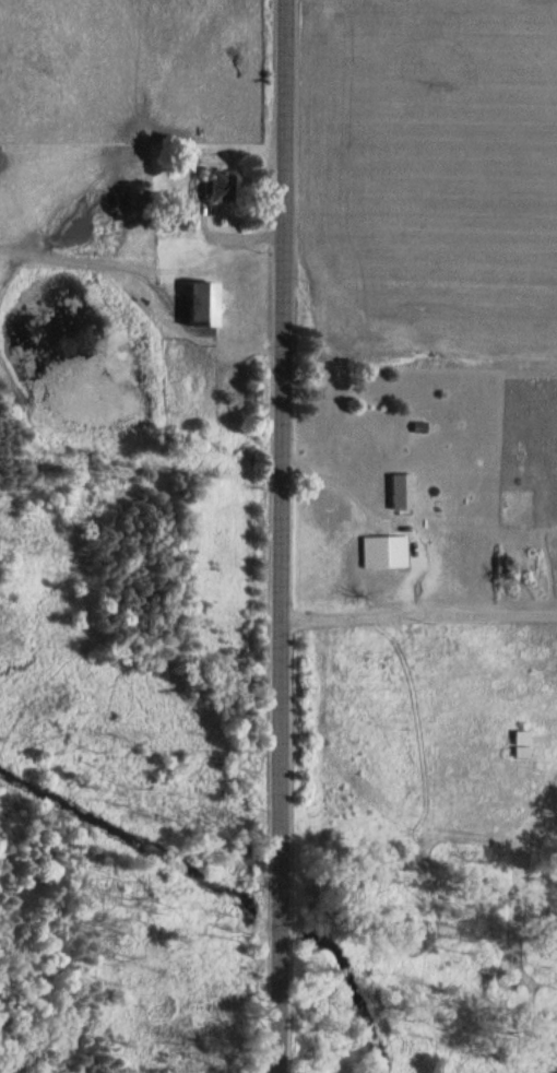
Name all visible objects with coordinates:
building: (225, 184)
building: (212, 303)
building: (406, 490)
road: (280, 536)
building: (388, 551)
road: (417, 615)
building: (515, 744)

